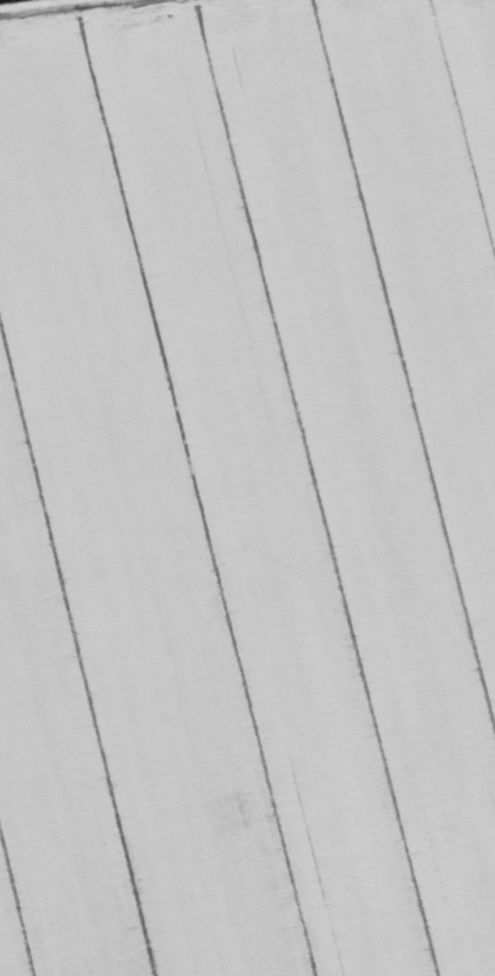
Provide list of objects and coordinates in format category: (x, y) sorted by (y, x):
road: (8, 0)

